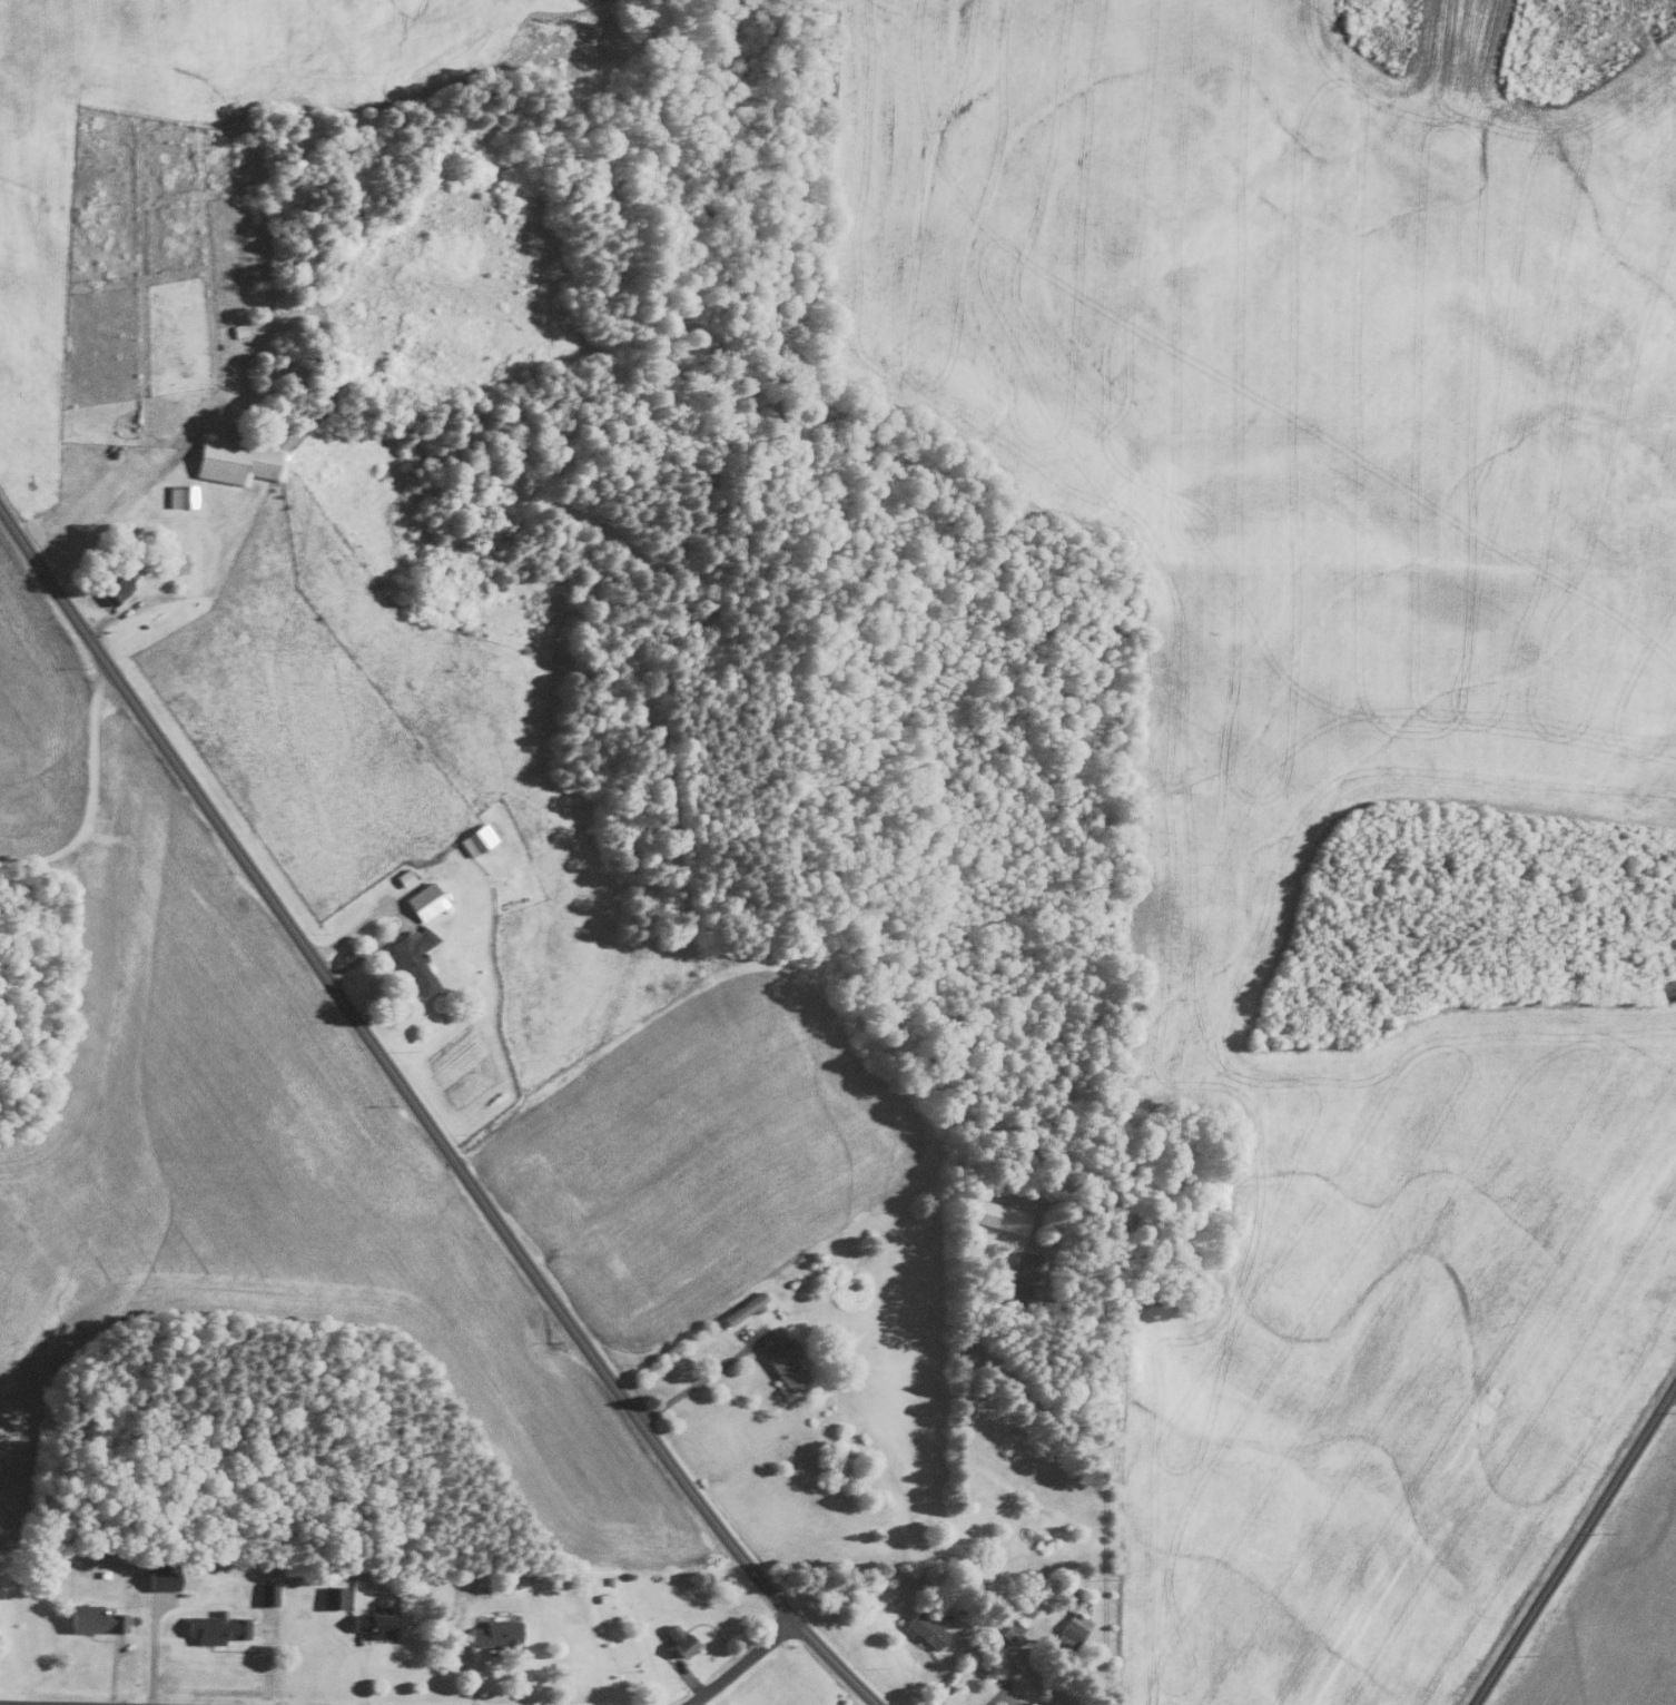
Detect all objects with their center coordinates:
building: (234, 460)
building: (178, 494)
road: (101, 526)
building: (169, 562)
building: (110, 588)
building: (474, 838)
building: (423, 900)
road: (402, 913)
building: (412, 958)
road: (423, 1120)
building: (995, 1214)
building: (1023, 1269)
building: (742, 1308)
building: (781, 1362)
road: (700, 1377)
road: (1670, 1390)
road: (1104, 1449)
road: (1571, 1538)
building: (158, 1574)
building: (266, 1591)
building: (331, 1595)
building: (90, 1617)
building: (369, 1622)
building: (214, 1626)
building: (1072, 1626)
building: (923, 1628)
building: (493, 1632)
building: (1005, 1632)
building: (676, 1637)
road: (739, 1663)
road: (930, 1672)
road: (997, 1694)
road: (49, 1703)
building: (1027, 1703)

